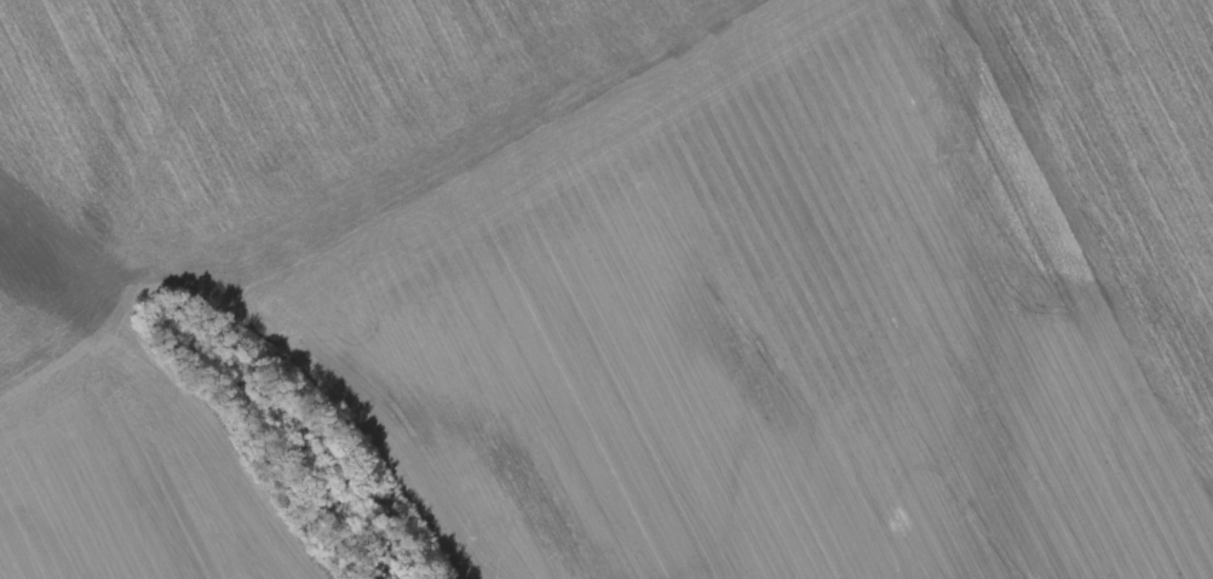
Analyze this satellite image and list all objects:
crop: (717, 334)

